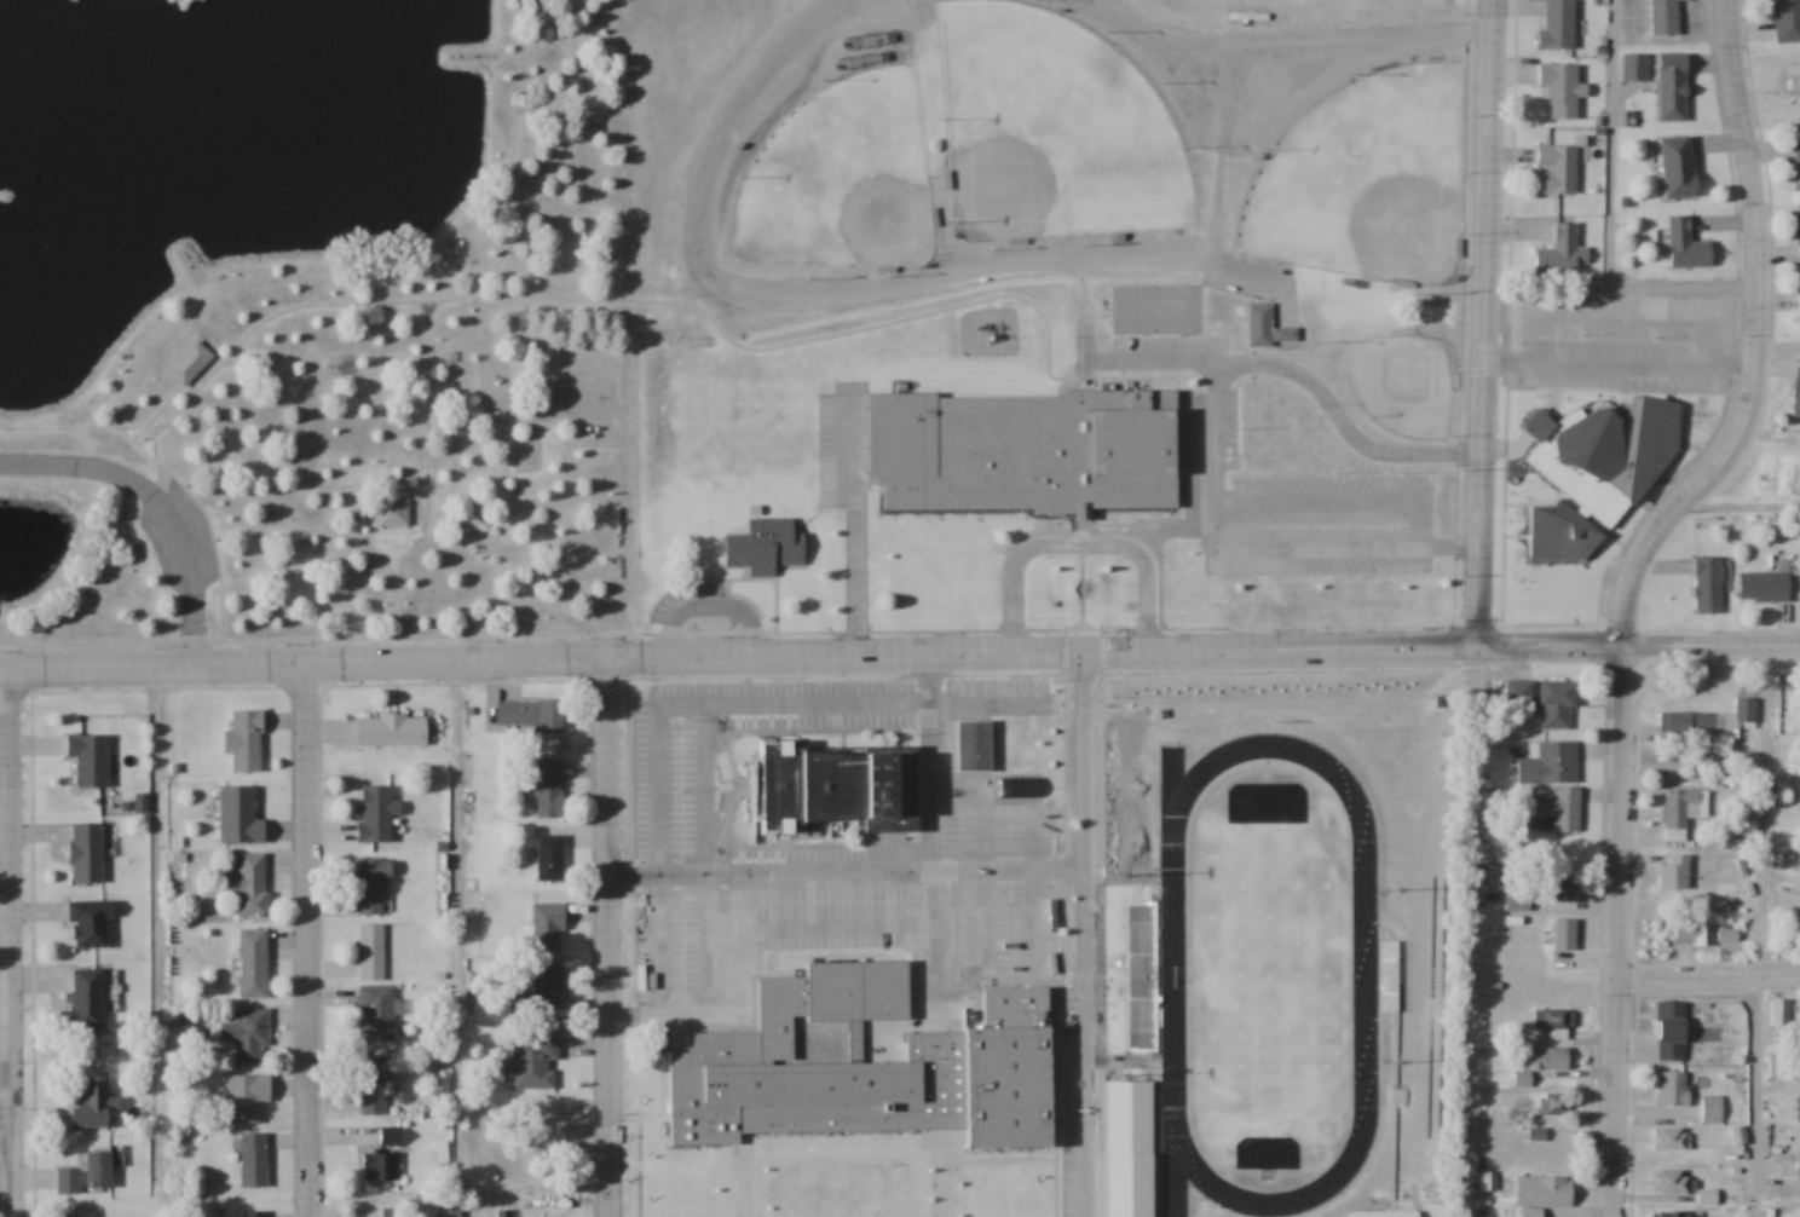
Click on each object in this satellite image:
building: (1666, 16)
building: (1785, 21)
building: (1558, 25)
road: (1277, 45)
building: (1673, 87)
building: (1560, 90)
park: (1051, 131)
building: (1798, 156)
road: (1219, 157)
building: (1678, 167)
building: (1558, 168)
park: (1365, 181)
park: (844, 183)
road: (1608, 218)
building: (1799, 237)
building: (1686, 246)
building: (1559, 252)
road: (830, 299)
building: (1798, 301)
park: (310, 321)
road: (1482, 323)
road: (1777, 347)
building: (189, 363)
road: (1217, 375)
road: (1300, 376)
building: (1796, 392)
building: (1592, 444)
parking lot: (841, 448)
building: (1651, 450)
building: (1026, 452)
road: (854, 457)
parking lot: (1293, 509)
road: (152, 511)
building: (393, 514)
road: (1167, 529)
road: (1079, 542)
road: (1360, 544)
road: (1447, 544)
building: (767, 547)
road: (854, 584)
road: (1627, 586)
building: (1708, 586)
building: (1765, 587)
road: (709, 606)
road: (899, 654)
road: (929, 668)
building: (1548, 700)
building: (1746, 710)
building: (529, 715)
building: (1692, 725)
building: (392, 731)
building: (244, 742)
building: (974, 748)
building: (88, 760)
building: (1548, 763)
building: (549, 789)
building: (838, 790)
building: (1558, 809)
building: (1679, 812)
building: (376, 814)
building: (238, 817)
road: (933, 834)
road: (658, 850)
building: (1507, 852)
building: (86, 853)
parking lot: (830, 854)
building: (549, 859)
road: (844, 871)
road: (979, 871)
building: (1674, 873)
building: (249, 886)
building: (369, 887)
road: (1040, 887)
building: (1560, 889)
building: (1518, 900)
building: (90, 924)
road: (838, 925)
building: (547, 928)
road: (1758, 930)
road: (1470, 932)
road: (1081, 934)
building: (1564, 934)
building: (1691, 934)
road: (608, 936)
building: (1727, 936)
road: (451, 939)
road: (304, 941)
road: (155, 942)
road: (6, 944)
building: (1147, 951)
building: (370, 952)
road: (1009, 958)
building: (252, 963)
building: (1387, 975)
park: (1264, 976)
road: (1707, 976)
track: (1268, 977)
road: (964, 982)
building: (549, 987)
building: (86, 999)
building: (1779, 1013)
building: (375, 1014)
building: (1553, 1022)
building: (1671, 1029)
building: (250, 1036)
building: (1146, 1038)
building: (1550, 1057)
building: (533, 1061)
building: (1778, 1066)
building: (871, 1069)
building: (371, 1085)
building: (1674, 1086)
road: (4, 1092)
building: (246, 1098)
building: (94, 1107)
building: (1712, 1108)
building: (1799, 1108)
building: (1127, 1111)
building: (543, 1119)
building: (1738, 1135)
building: (1671, 1138)
building: (383, 1158)
building: (253, 1161)
building: (98, 1171)
building: (1671, 1179)
building: (68, 1181)
building: (1124, 1183)
building: (1544, 1190)
building: (527, 1205)
building: (391, 1212)
building: (255, 1213)
building: (449, 1213)
building: (1672, 1213)

